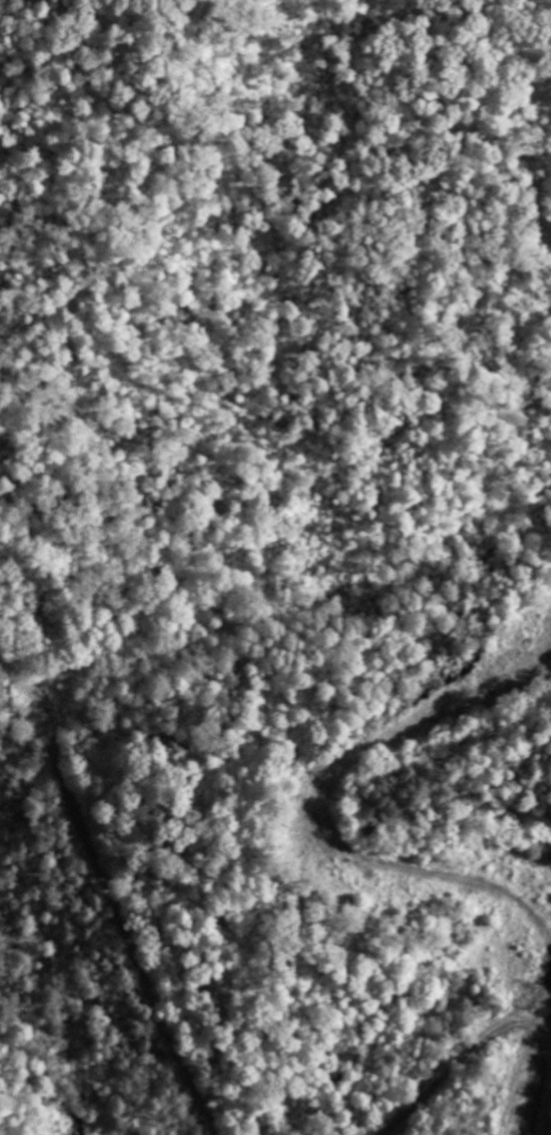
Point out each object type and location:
road: (147, 990)

